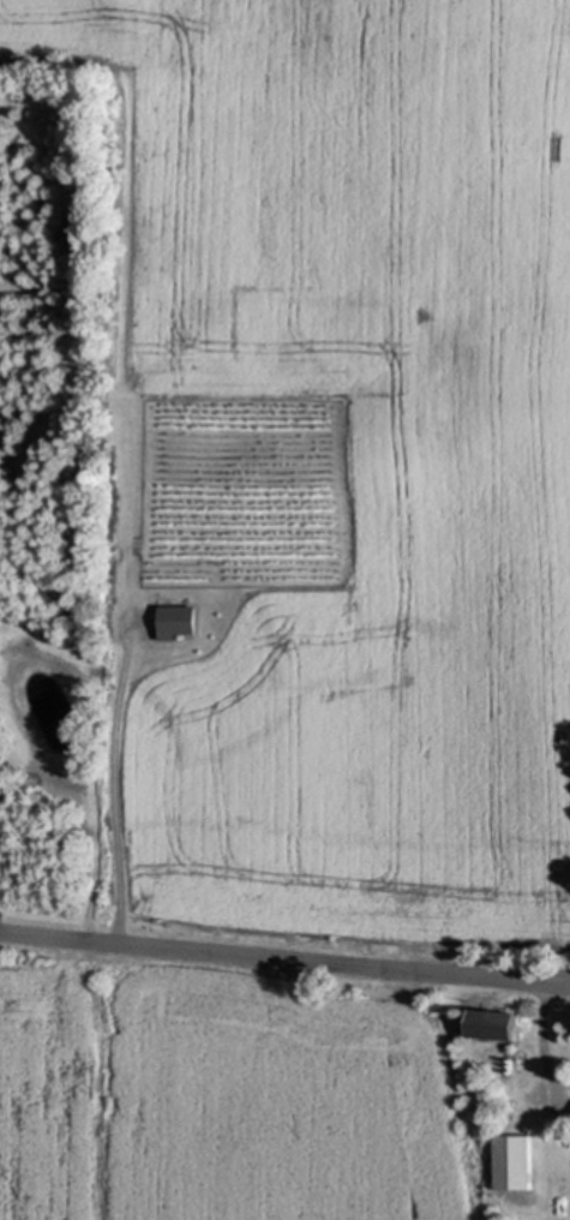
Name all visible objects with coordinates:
building: (178, 622)
road: (100, 779)
road: (284, 964)
building: (496, 1024)
building: (514, 1162)

